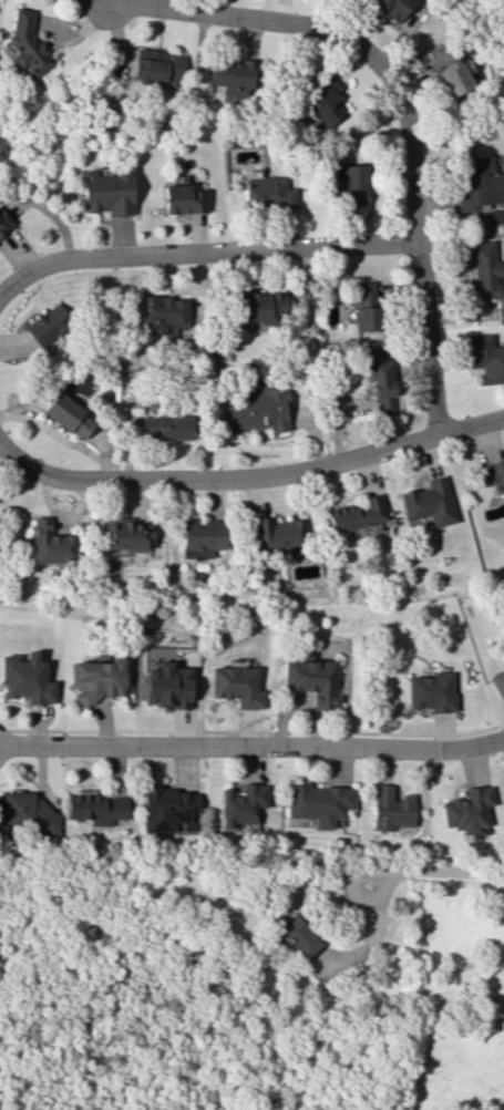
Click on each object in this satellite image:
building: (391, 7)
building: (27, 43)
building: (157, 65)
building: (450, 74)
building: (230, 75)
building: (323, 103)
road: (399, 103)
building: (480, 184)
building: (352, 186)
building: (267, 191)
building: (106, 192)
building: (182, 199)
building: (3, 223)
road: (204, 253)
building: (484, 270)
building: (366, 306)
building: (259, 307)
building: (162, 316)
building: (48, 325)
building: (486, 358)
building: (381, 380)
building: (258, 407)
building: (66, 414)
building: (165, 428)
building: (493, 474)
road: (250, 480)
building: (430, 503)
building: (356, 514)
building: (202, 534)
building: (279, 534)
building: (127, 536)
building: (51, 544)
building: (27, 679)
building: (100, 679)
building: (311, 679)
building: (497, 680)
building: (167, 685)
building: (236, 685)
building: (430, 691)
road: (253, 748)
building: (316, 803)
building: (239, 804)
building: (94, 806)
building: (167, 809)
building: (388, 809)
building: (464, 809)
building: (25, 813)
road: (432, 871)
building: (296, 935)

